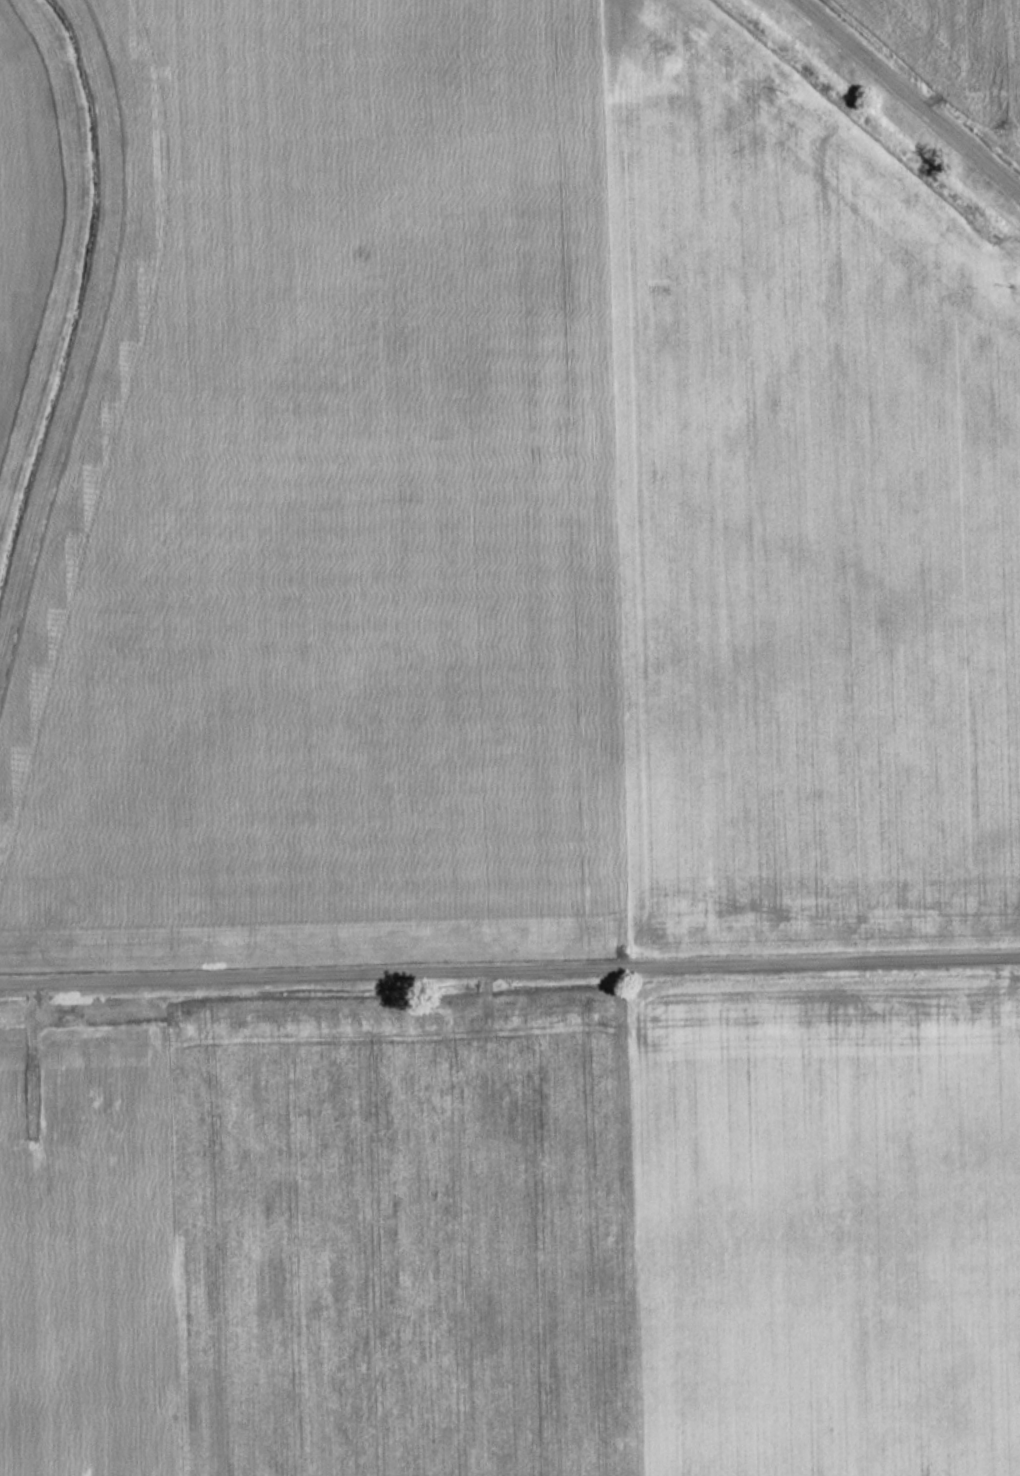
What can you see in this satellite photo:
crop: (1017, 42)
crop: (962, 43)
road: (911, 94)
railway: (869, 129)
crop: (23, 199)
crop: (516, 502)
road: (509, 964)
crop: (828, 1236)
crop: (319, 1246)

